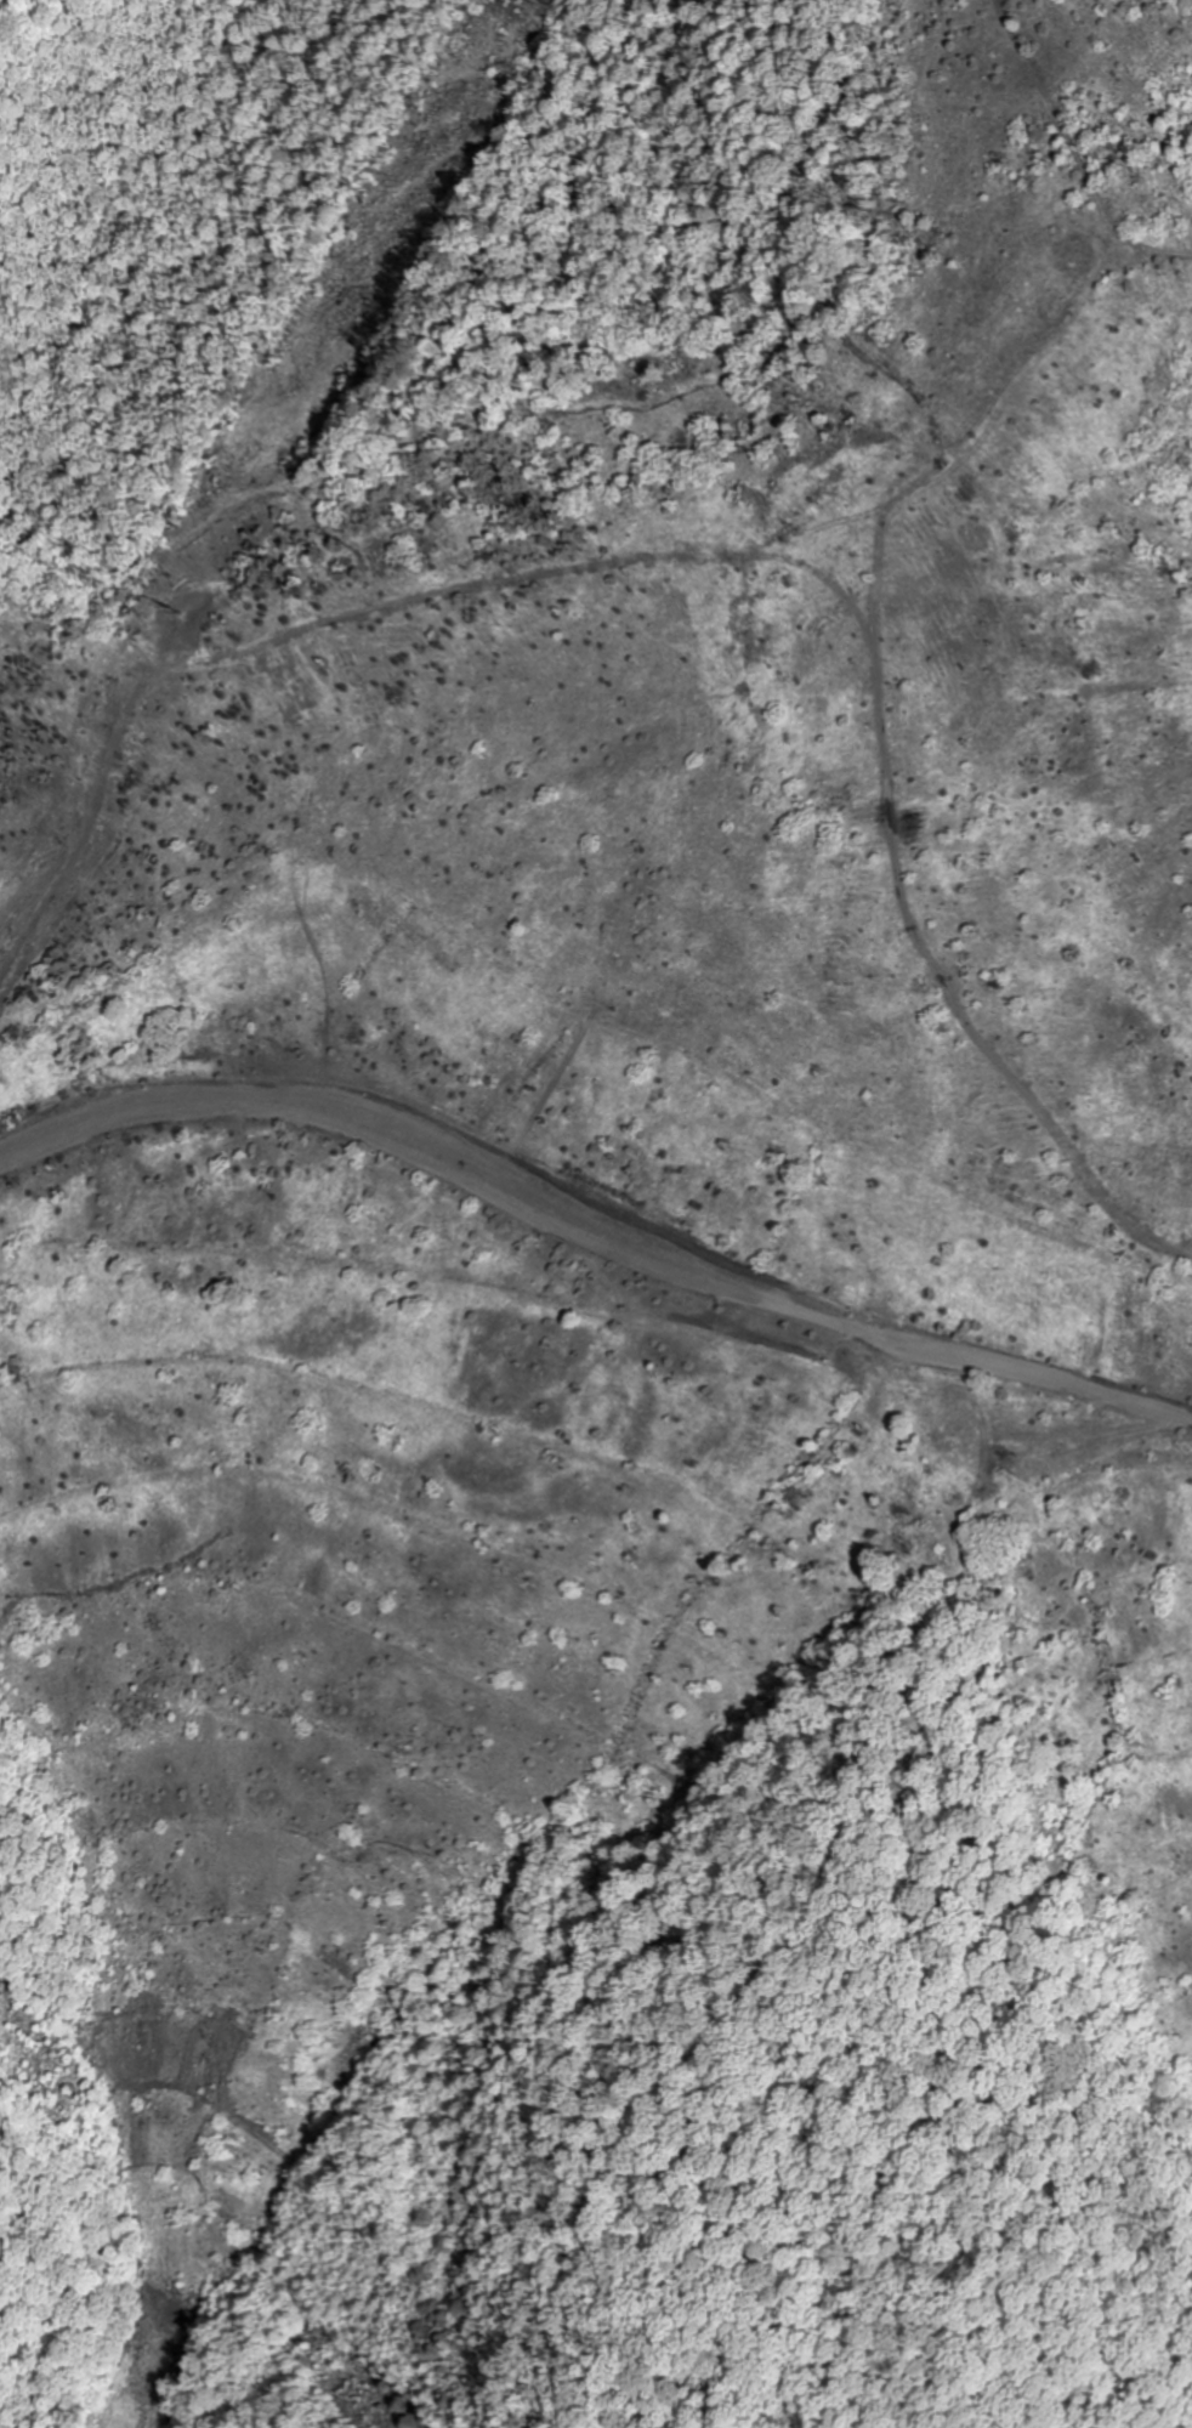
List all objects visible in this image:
power tower: (177, 608)
road: (597, 1229)

